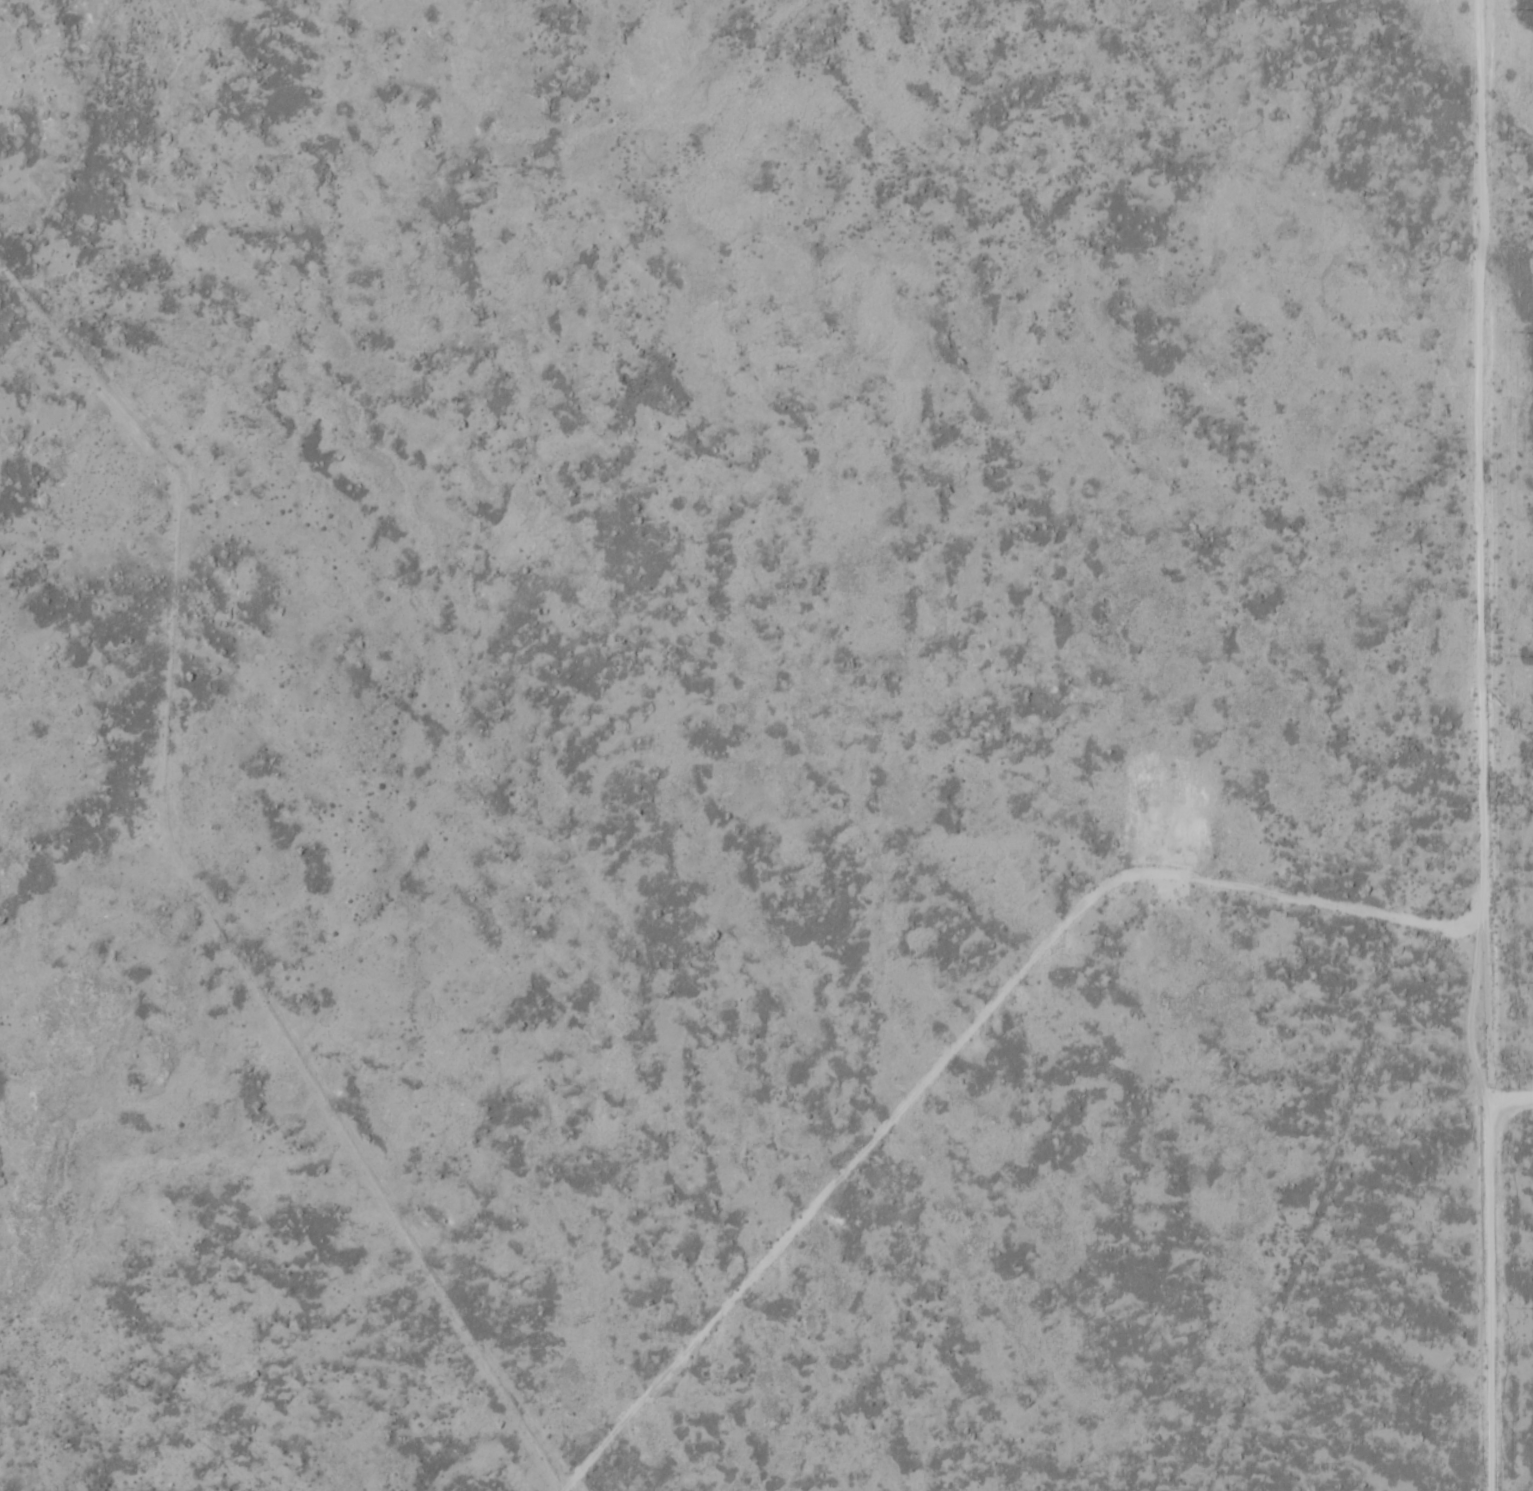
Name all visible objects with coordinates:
power tower: (1507, 9)
power tower: (1507, 332)
power tower: (1509, 655)
road: (1482, 745)
power tower: (1511, 981)
road: (966, 1049)
power tower: (1512, 1307)

